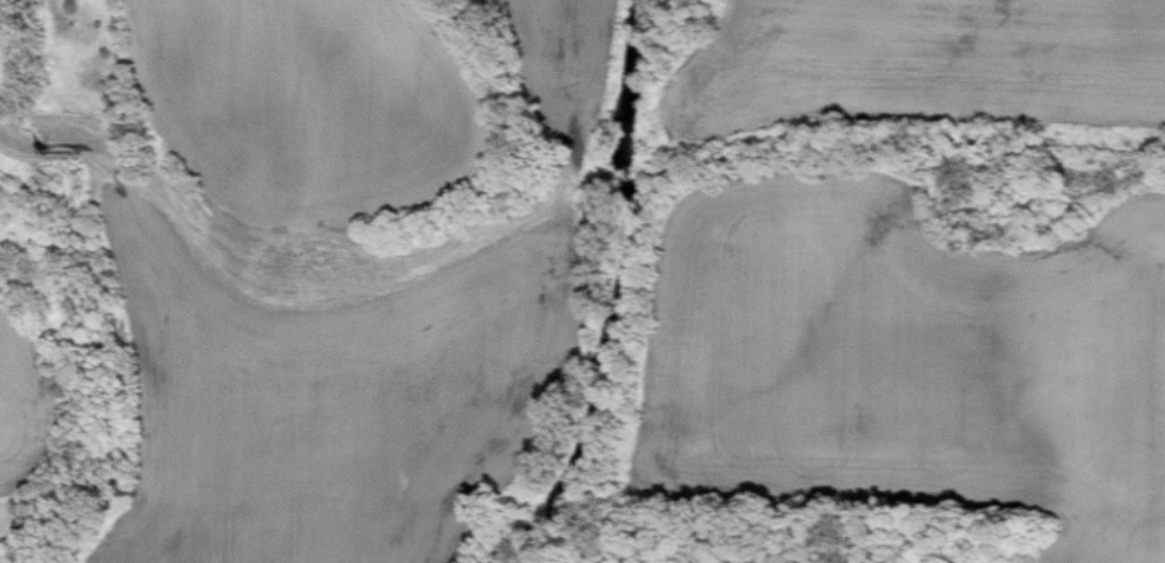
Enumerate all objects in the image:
road: (572, 207)

